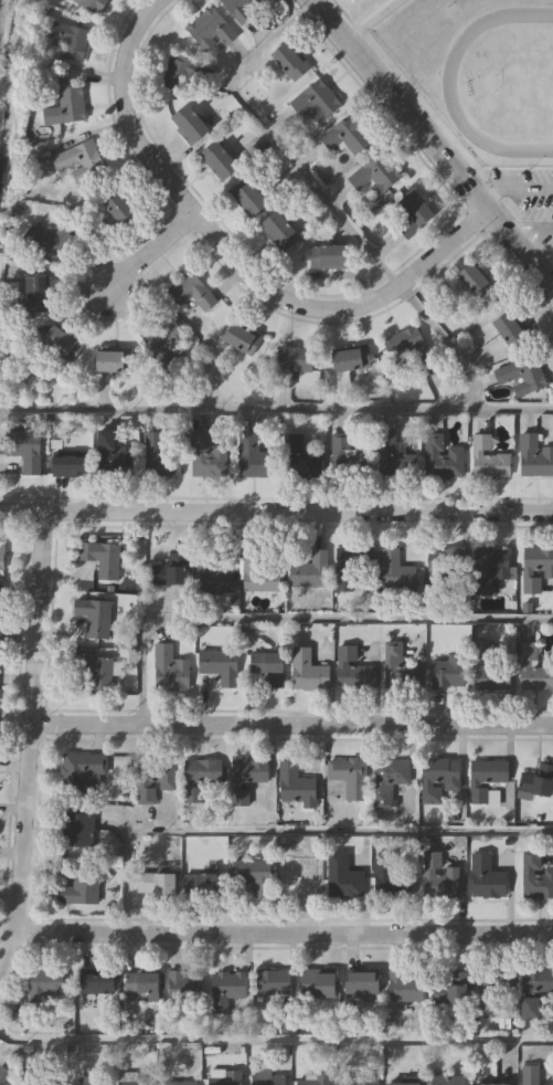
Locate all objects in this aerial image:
building: (92, 4)
building: (241, 9)
road: (364, 19)
building: (210, 29)
building: (71, 41)
building: (289, 60)
building: (177, 73)
track: (507, 82)
park: (523, 83)
building: (317, 101)
building: (65, 106)
building: (188, 123)
building: (345, 135)
road: (429, 144)
building: (78, 160)
building: (219, 160)
building: (375, 175)
road: (513, 185)
building: (251, 198)
road: (325, 200)
building: (119, 208)
building: (410, 214)
building: (276, 229)
road: (535, 240)
building: (53, 242)
road: (150, 254)
building: (328, 255)
road: (228, 259)
building: (474, 283)
building: (190, 291)
building: (36, 293)
building: (510, 330)
building: (241, 338)
building: (161, 340)
building: (61, 341)
building: (406, 345)
building: (350, 358)
building: (113, 360)
building: (288, 362)
building: (520, 376)
road: (276, 411)
building: (26, 453)
building: (111, 454)
building: (205, 454)
building: (158, 456)
building: (253, 456)
building: (348, 456)
building: (534, 456)
building: (394, 457)
building: (301, 459)
building: (488, 459)
building: (1, 462)
building: (444, 463)
building: (68, 465)
road: (276, 513)
building: (1, 555)
building: (102, 558)
building: (535, 567)
building: (351, 568)
building: (440, 568)
building: (488, 568)
building: (170, 570)
building: (309, 570)
building: (258, 571)
building: (395, 573)
building: (211, 576)
building: (0, 600)
building: (94, 617)
road: (297, 620)
building: (395, 665)
building: (491, 665)
building: (219, 666)
building: (267, 667)
building: (533, 668)
building: (169, 670)
building: (353, 670)
building: (307, 672)
building: (447, 672)
building: (99, 675)
road: (291, 725)
road: (28, 740)
building: (251, 770)
building: (81, 771)
building: (349, 776)
building: (198, 777)
building: (152, 778)
building: (438, 778)
building: (538, 779)
building: (485, 780)
building: (391, 781)
building: (295, 784)
building: (238, 797)
building: (77, 830)
road: (293, 832)
building: (296, 873)
building: (439, 874)
building: (253, 875)
building: (534, 876)
building: (343, 877)
building: (390, 877)
building: (486, 877)
building: (156, 884)
building: (200, 885)
building: (81, 887)
road: (281, 931)
building: (536, 979)
building: (44, 982)
building: (97, 982)
building: (141, 982)
building: (272, 982)
building: (184, 983)
building: (362, 983)
building: (318, 984)
building: (405, 986)
building: (453, 987)
building: (490, 987)
building: (226, 988)
building: (530, 1007)
road: (275, 1040)
building: (529, 1075)
building: (44, 1076)
building: (223, 1077)
building: (134, 1078)
building: (267, 1078)
building: (89, 1079)
building: (311, 1079)
building: (357, 1079)
building: (179, 1083)
building: (403, 1084)
building: (492, 1084)

